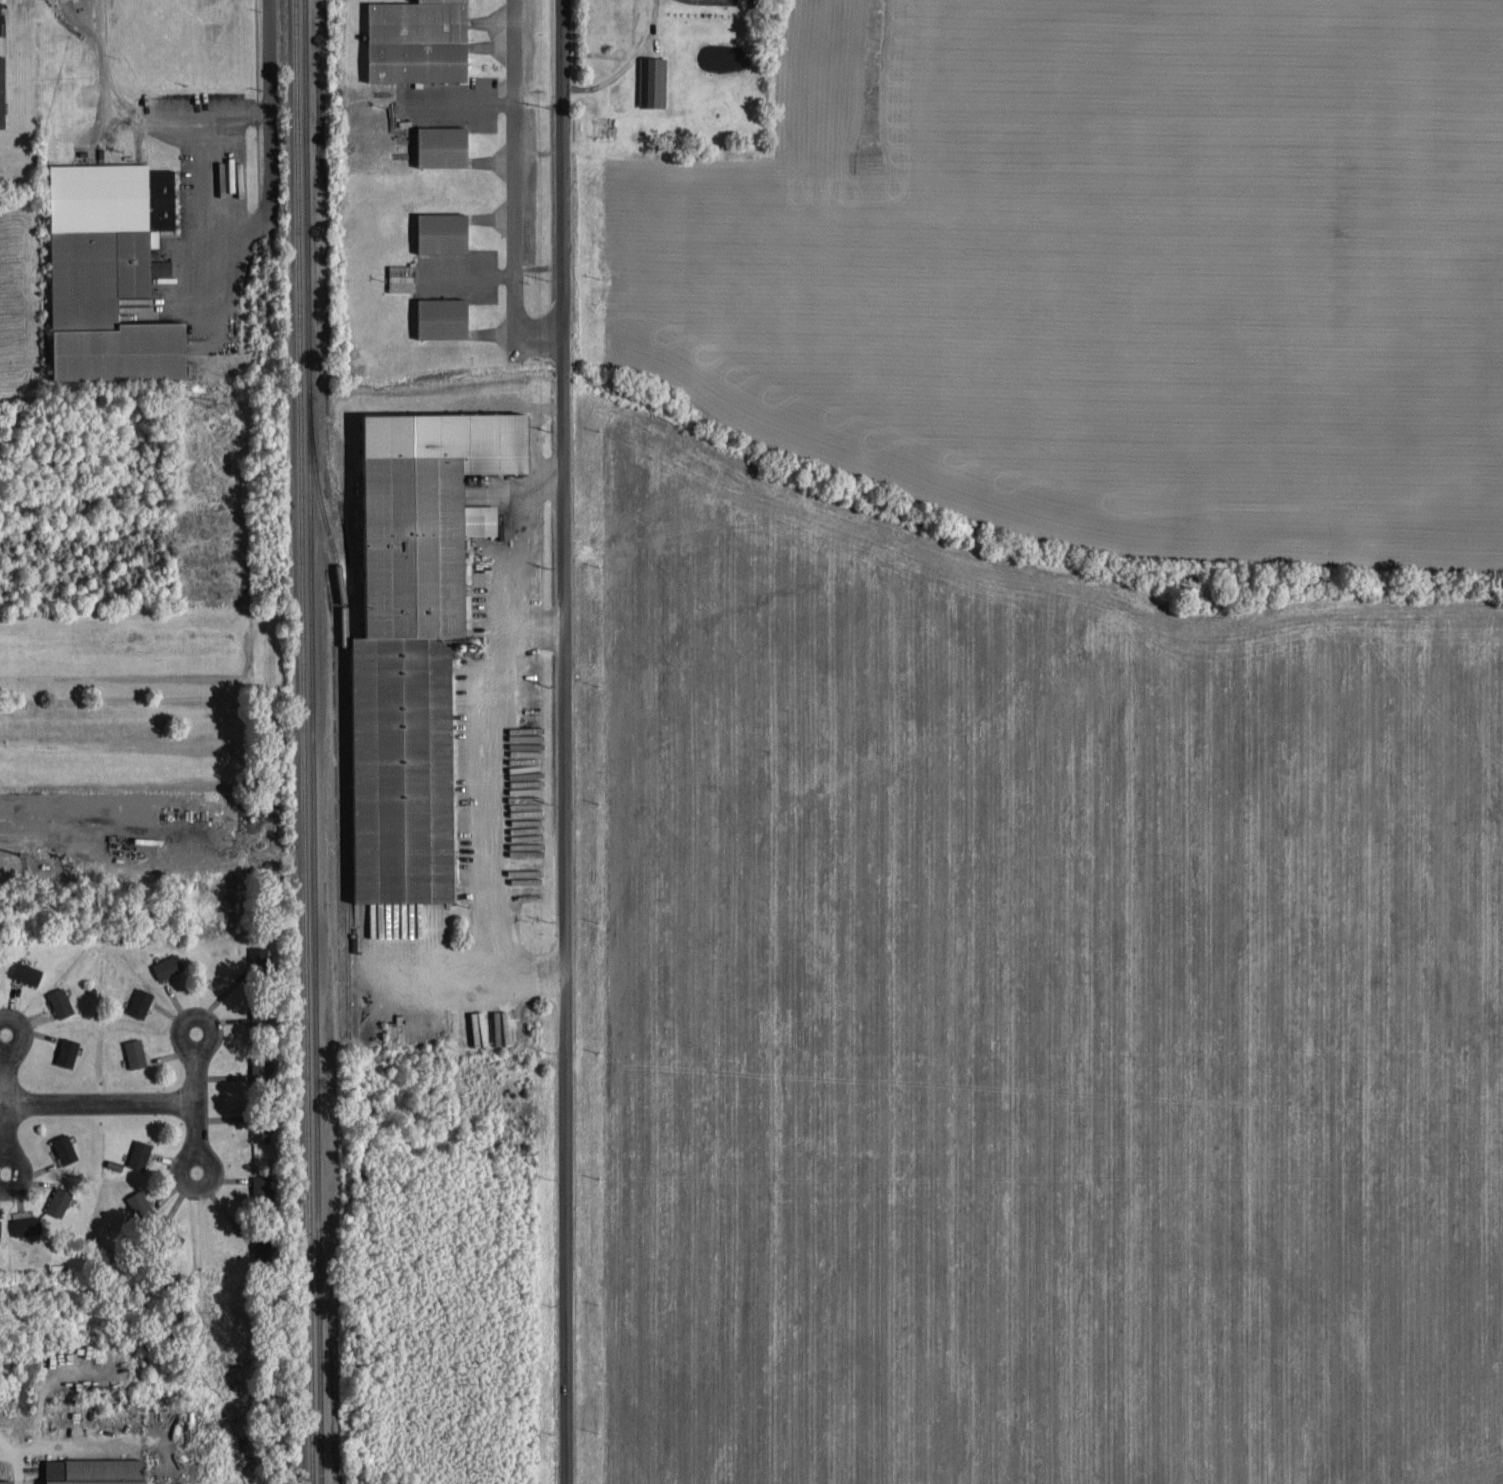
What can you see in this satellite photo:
building: (411, 40)
building: (649, 80)
road: (270, 89)
building: (436, 145)
building: (227, 170)
building: (436, 231)
building: (102, 271)
building: (397, 276)
building: (227, 293)
building: (436, 317)
road: (536, 627)
building: (405, 640)
railway: (307, 659)
road: (490, 708)
railway: (317, 742)
road: (564, 742)
building: (256, 959)
building: (168, 964)
building: (27, 971)
road: (464, 973)
building: (60, 1001)
building: (140, 1001)
road: (207, 1026)
building: (391, 1033)
road: (19, 1043)
building: (68, 1050)
building: (135, 1051)
building: (255, 1065)
road: (7, 1096)
road: (196, 1096)
road: (98, 1102)
building: (262, 1129)
building: (64, 1147)
building: (140, 1152)
road: (16, 1156)
road: (190, 1182)
building: (260, 1187)
building: (59, 1199)
building: (140, 1202)
building: (0, 1225)
building: (29, 1225)
building: (264, 1248)
building: (99, 1470)
building: (8, 1481)

